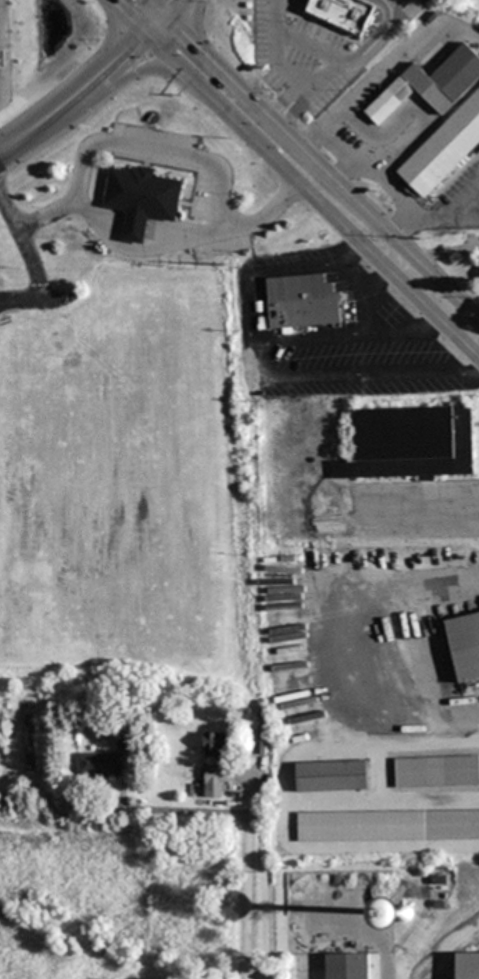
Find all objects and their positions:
road: (397, 1)
road: (156, 7)
road: (173, 7)
traffic signals: (164, 15)
building: (354, 15)
road: (127, 16)
road: (154, 23)
traffic signals: (144, 32)
road: (377, 39)
road: (166, 54)
road: (331, 57)
building: (3, 58)
road: (287, 69)
road: (383, 71)
road: (85, 87)
road: (103, 92)
building: (461, 117)
road: (10, 143)
road: (372, 146)
road: (321, 167)
building: (142, 198)
road: (432, 216)
road: (333, 217)
road: (29, 259)
road: (359, 297)
building: (302, 303)
road: (347, 335)
road: (259, 374)
building: (410, 443)
road: (329, 636)
building: (465, 644)
building: (123, 740)
building: (216, 743)
building: (99, 764)
building: (437, 772)
building: (332, 776)
building: (214, 782)
building: (388, 826)
road: (299, 846)
water tower: (399, 911)
building: (405, 912)
building: (348, 966)
building: (468, 966)

